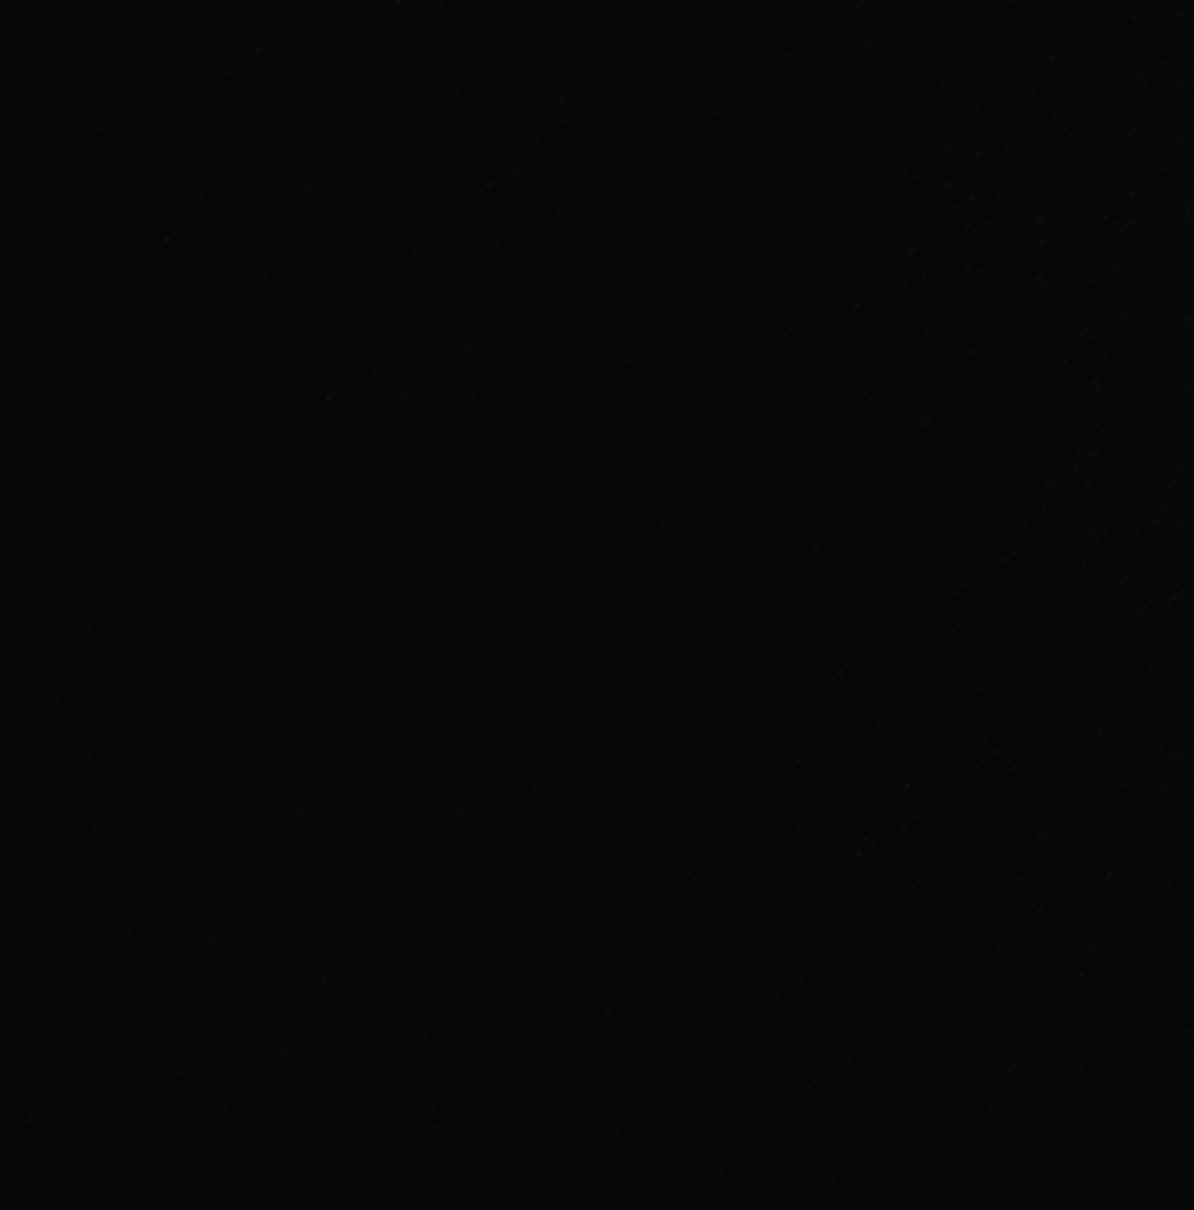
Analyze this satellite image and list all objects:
river: (794, 366)
park: (596, 605)

